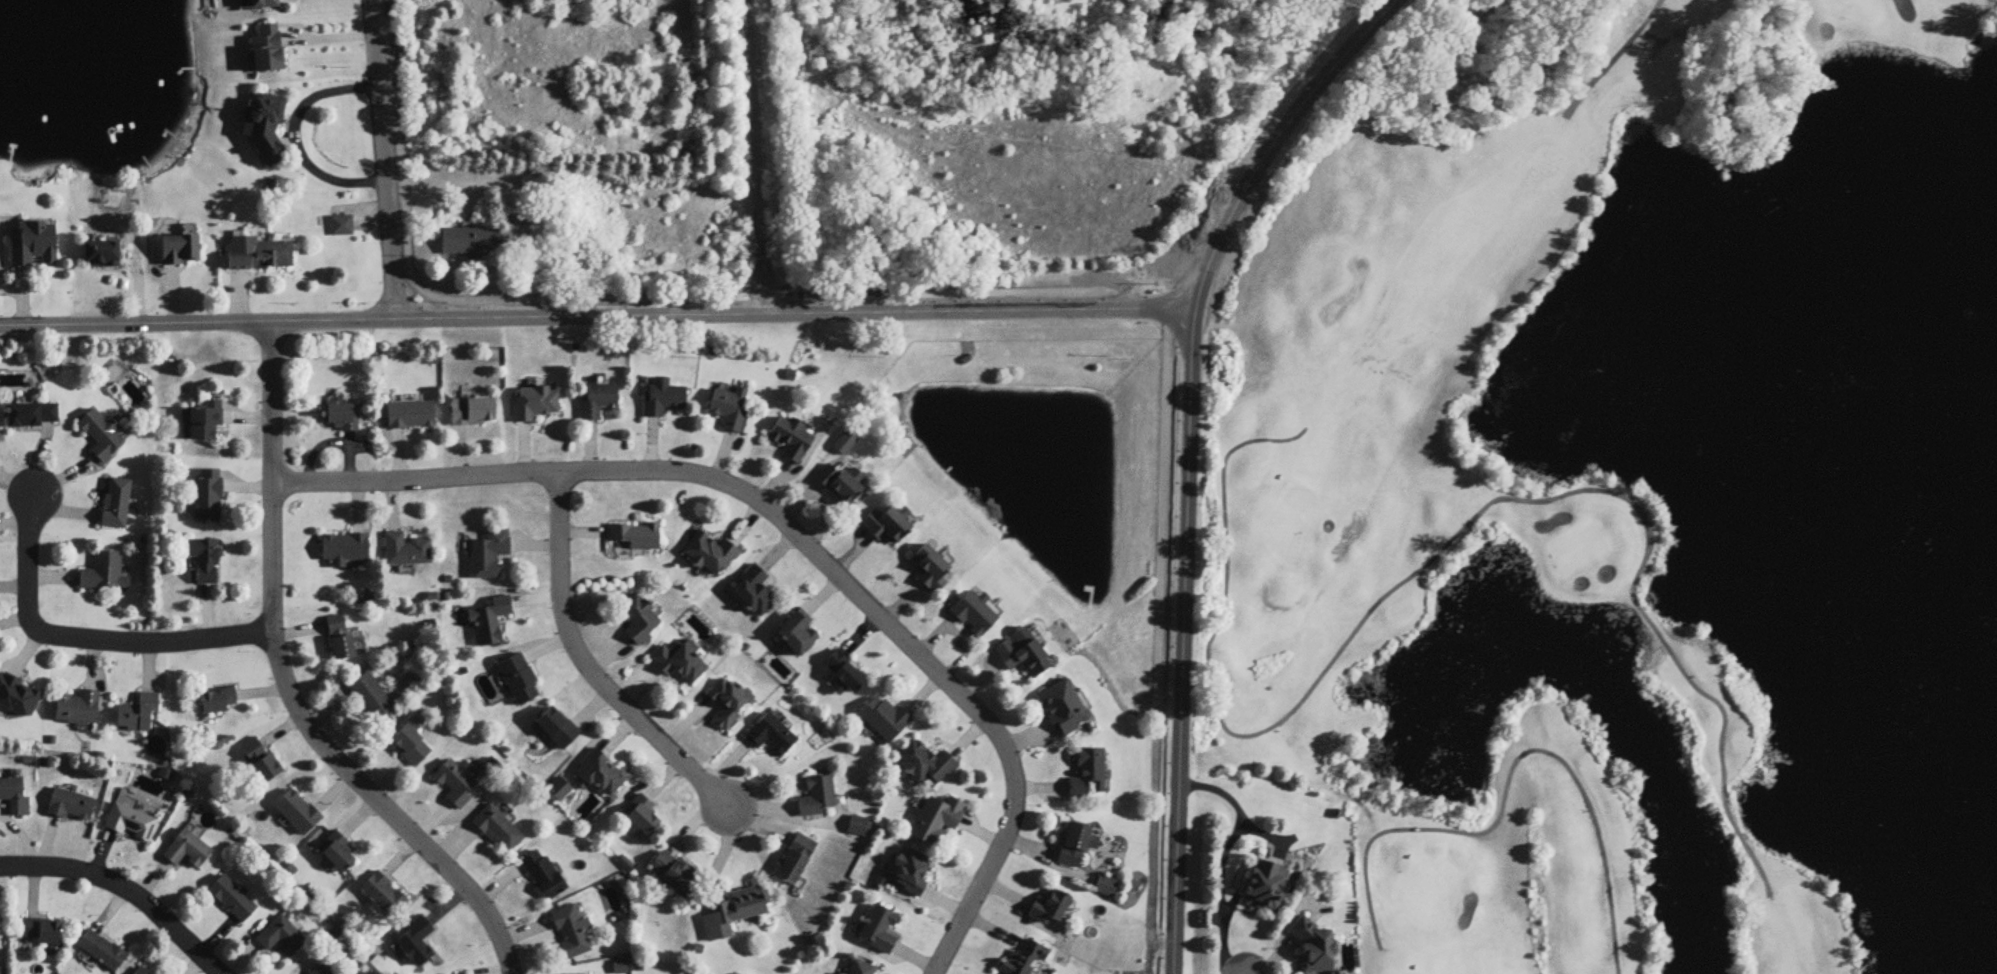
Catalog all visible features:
building: (261, 4)
building: (267, 50)
building: (263, 125)
road: (295, 136)
road: (1274, 143)
road: (751, 151)
road: (387, 160)
building: (341, 227)
building: (470, 242)
building: (34, 245)
building: (179, 251)
building: (100, 255)
building: (258, 255)
road: (597, 317)
building: (661, 398)
building: (598, 401)
building: (534, 404)
building: (729, 407)
building: (473, 412)
building: (31, 416)
building: (410, 416)
building: (340, 418)
building: (205, 421)
building: (101, 436)
building: (791, 439)
building: (845, 443)
building: (840, 484)
park: (1630, 487)
building: (207, 501)
building: (116, 504)
building: (886, 526)
building: (636, 537)
road: (796, 537)
building: (345, 550)
building: (406, 552)
building: (711, 555)
building: (489, 556)
building: (204, 560)
building: (930, 570)
building: (104, 575)
building: (754, 591)
building: (973, 616)
building: (639, 620)
building: (491, 623)
building: (797, 637)
building: (339, 639)
road: (85, 640)
road: (1183, 643)
building: (1023, 656)
building: (679, 665)
road: (584, 666)
building: (843, 676)
building: (519, 681)
road: (286, 688)
building: (18, 699)
building: (371, 699)
building: (218, 703)
building: (729, 703)
building: (78, 709)
building: (1063, 709)
building: (137, 715)
building: (884, 720)
building: (557, 729)
building: (770, 736)
building: (410, 747)
building: (259, 762)
building: (925, 765)
building: (599, 774)
building: (1087, 776)
building: (454, 783)
building: (14, 798)
building: (817, 799)
building: (70, 807)
building: (297, 813)
building: (640, 817)
road: (783, 817)
building: (936, 821)
building: (130, 824)
building: (858, 828)
building: (497, 831)
building: (1076, 846)
building: (187, 852)
building: (336, 854)
road: (1221, 858)
building: (795, 862)
building: (910, 872)
building: (543, 875)
building: (674, 875)
building: (1106, 887)
road: (123, 888)
building: (1265, 888)
building: (383, 896)
building: (232, 900)
building: (1049, 910)
building: (738, 911)
building: (879, 931)
building: (40, 932)
building: (571, 933)
building: (281, 938)
building: (415, 943)
building: (1313, 948)
building: (100, 951)
building: (1025, 960)
building: (860, 968)
building: (323, 970)
building: (139, 972)

